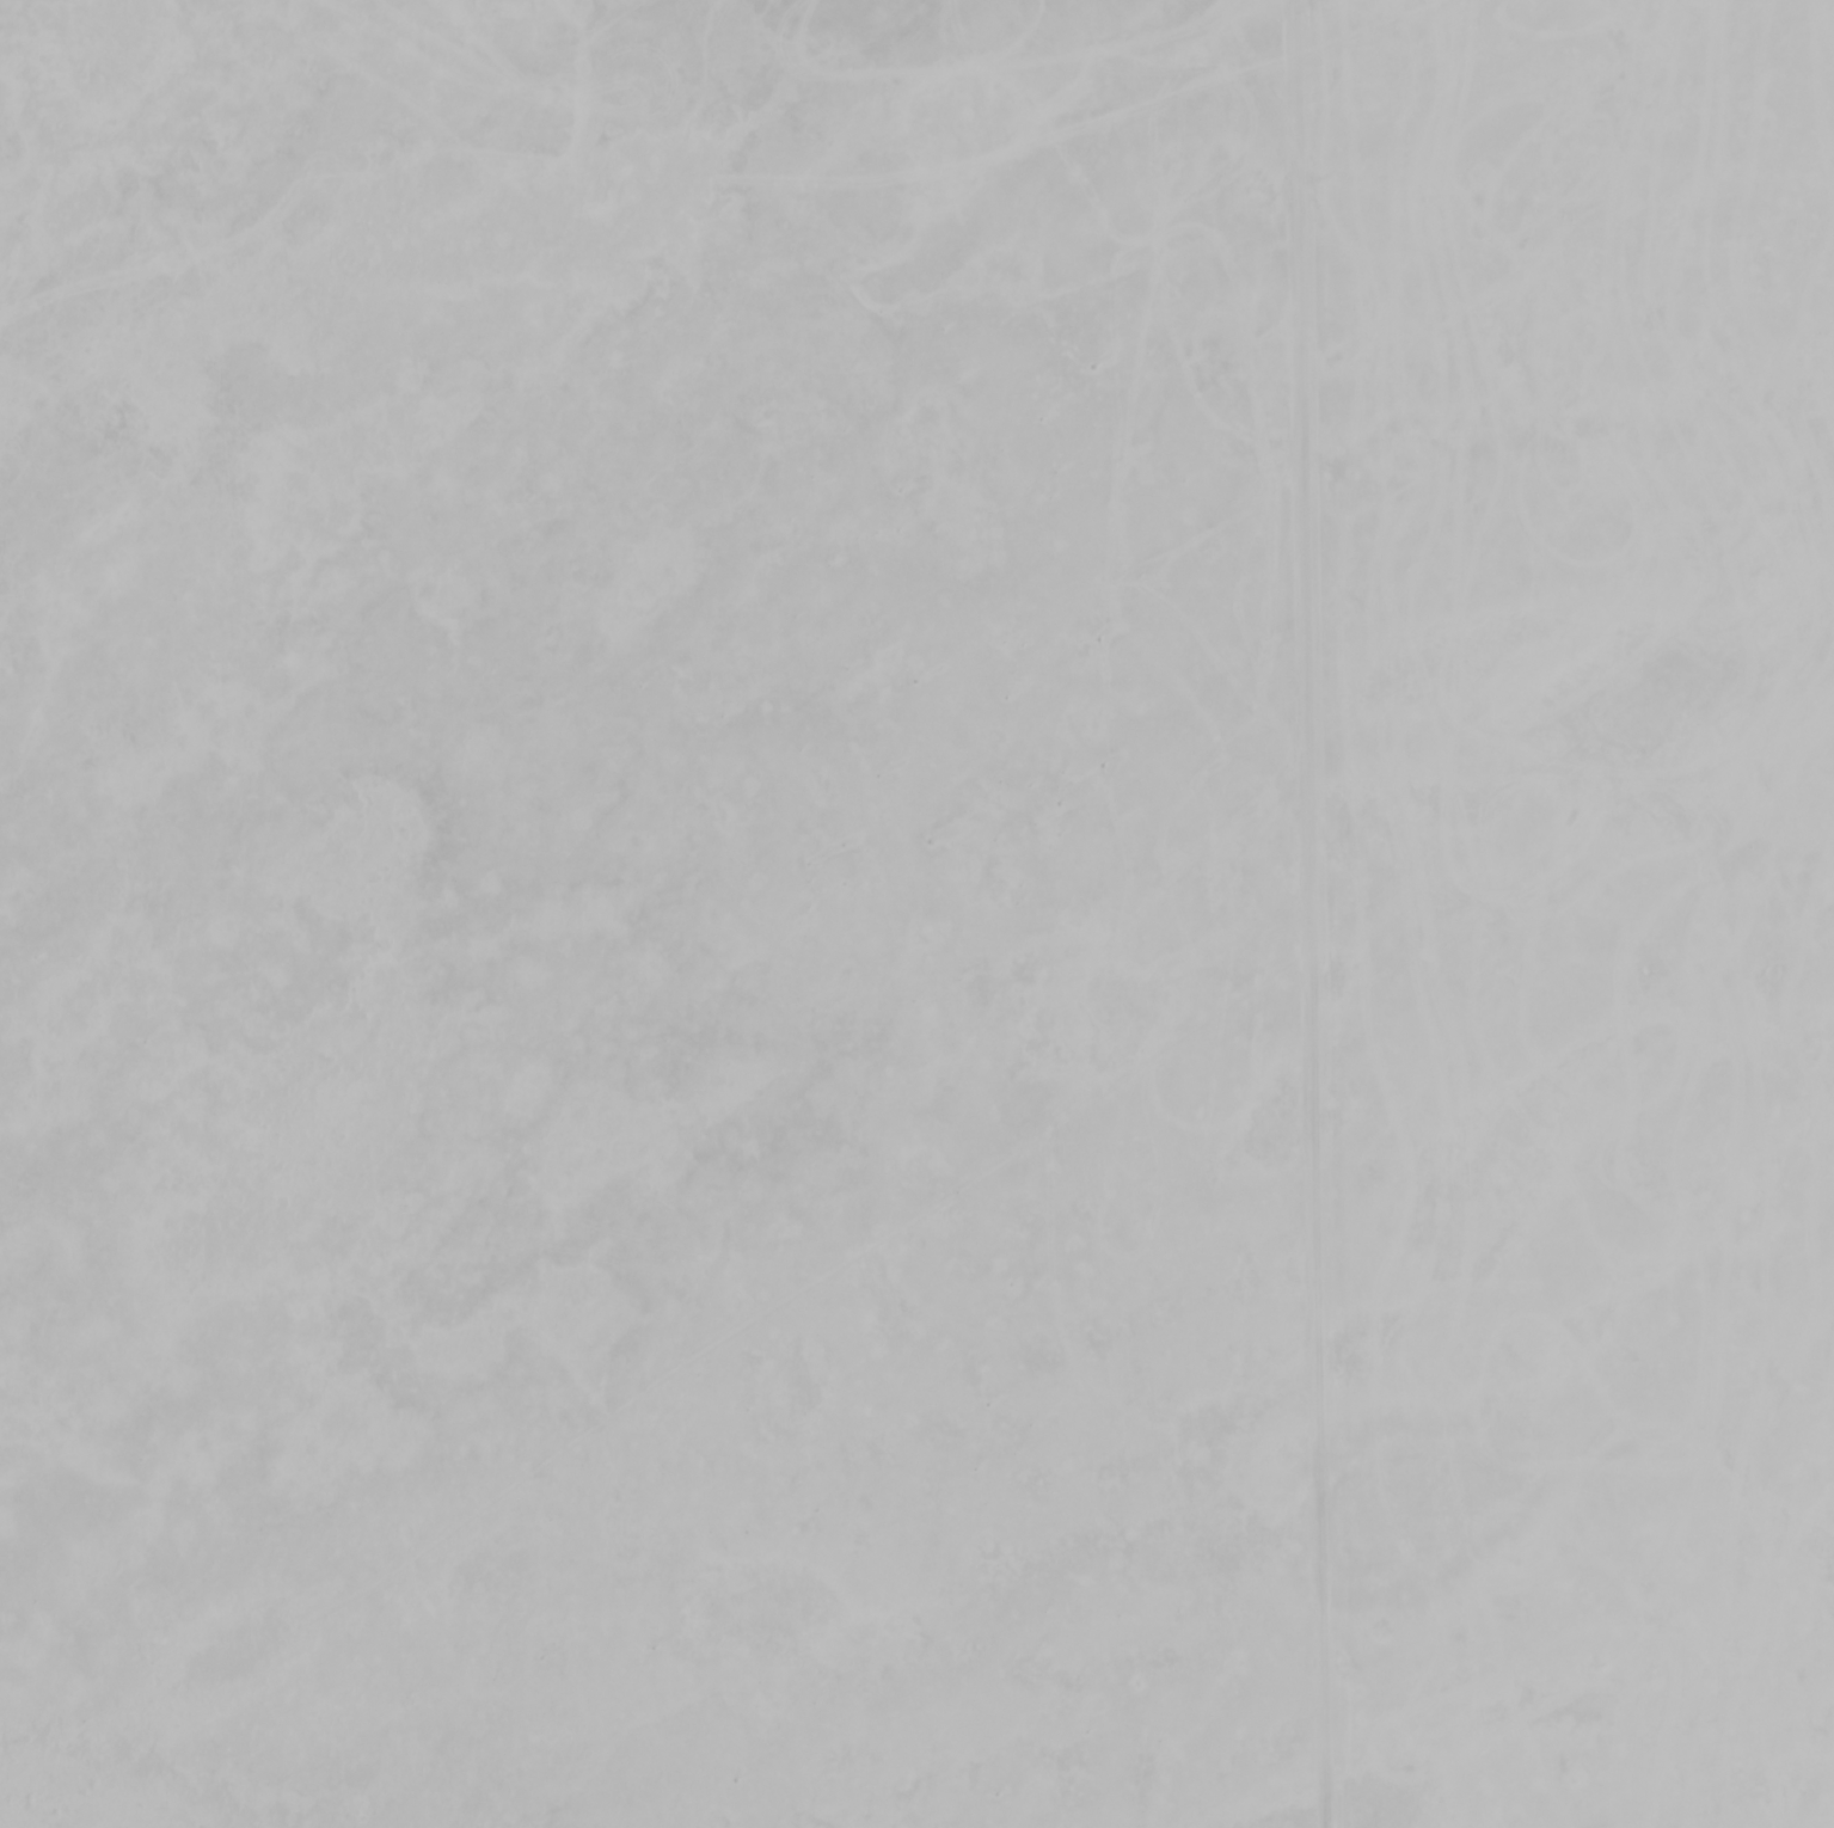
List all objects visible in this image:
building: (1222, 650)
road: (1319, 914)

